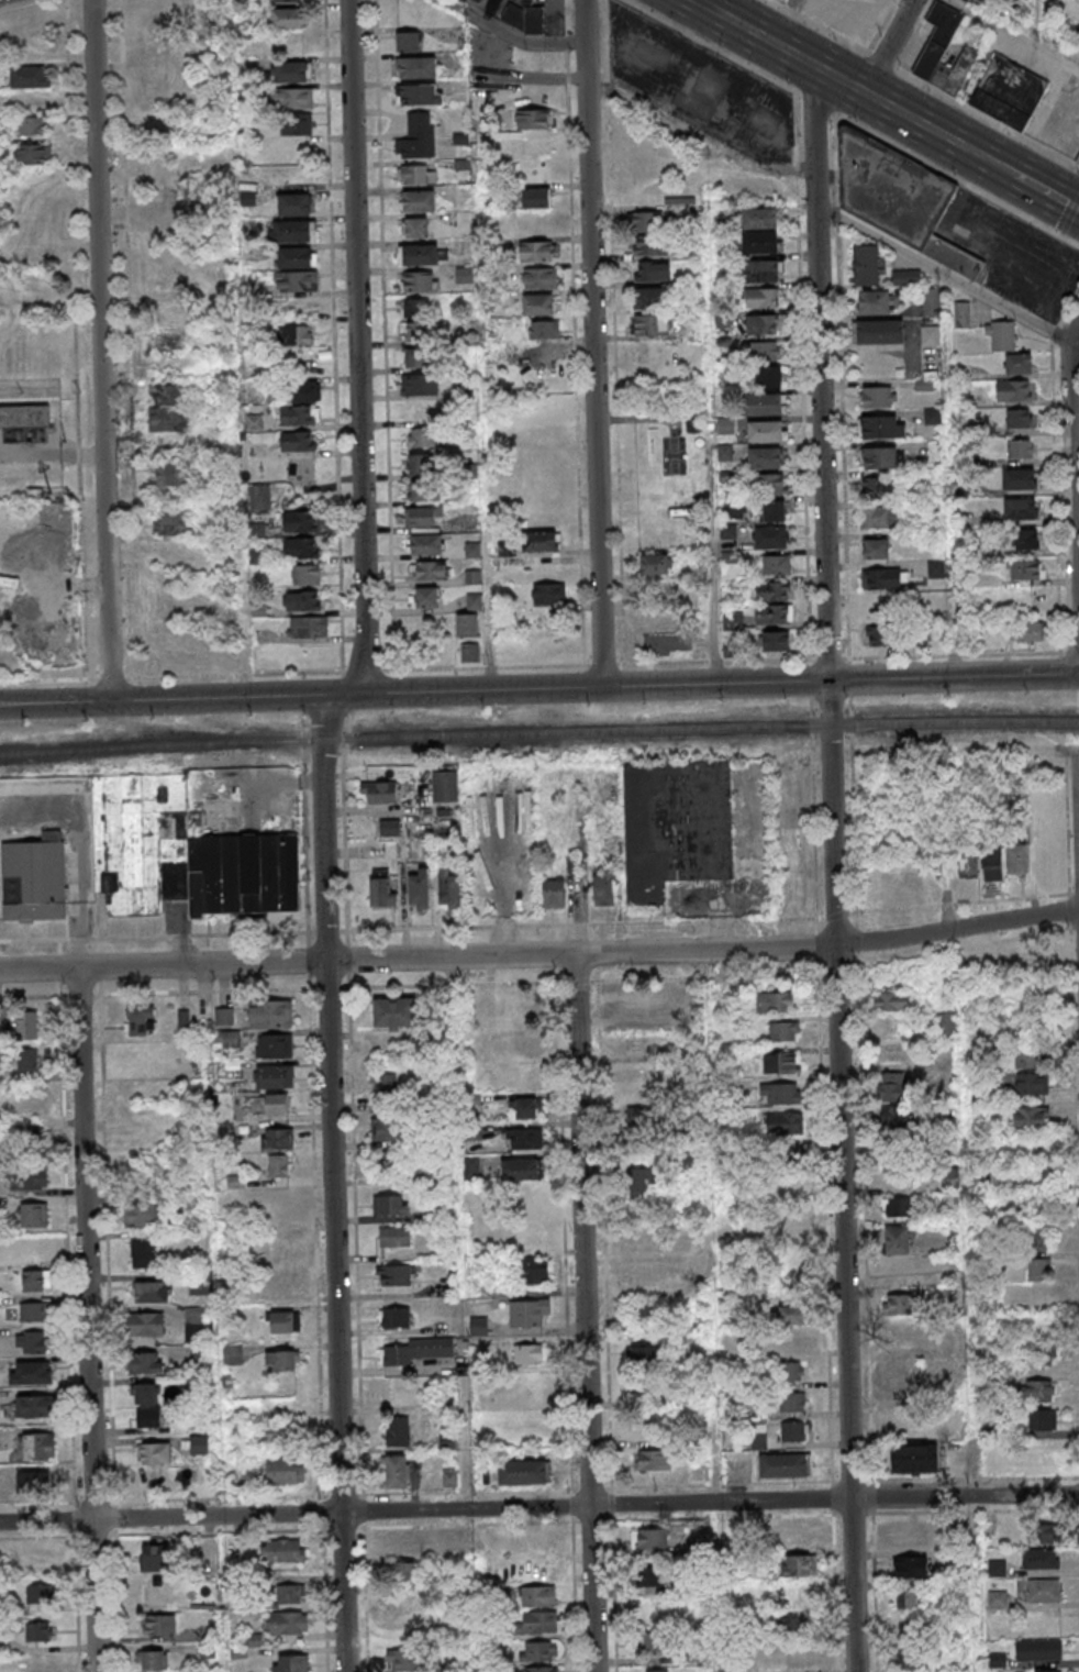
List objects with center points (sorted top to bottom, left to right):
building: (286, 0)
road: (29, 7)
building: (1077, 9)
road: (730, 10)
building: (288, 18)
building: (523, 18)
building: (158, 23)
building: (1077, 34)
road: (1012, 36)
building: (407, 41)
road: (711, 46)
road: (888, 46)
building: (159, 48)
building: (944, 52)
building: (416, 67)
building: (292, 70)
building: (30, 76)
road: (838, 79)
road: (922, 84)
building: (1009, 92)
building: (420, 95)
building: (292, 98)
road: (817, 103)
building: (533, 119)
building: (297, 124)
building: (30, 128)
building: (159, 132)
building: (418, 136)
building: (32, 155)
building: (1078, 162)
road: (998, 167)
building: (416, 174)
road: (957, 181)
road: (1045, 192)
road: (352, 198)
building: (536, 198)
building: (900, 199)
building: (418, 200)
building: (294, 204)
building: (157, 209)
building: (761, 218)
road: (1069, 218)
building: (647, 222)
building: (415, 226)
building: (293, 231)
building: (763, 242)
building: (650, 245)
building: (536, 251)
building: (423, 254)
building: (867, 264)
building: (298, 269)
building: (763, 270)
building: (652, 272)
road: (948, 275)
building: (541, 277)
building: (905, 277)
building: (420, 281)
building: (650, 298)
building: (760, 298)
building: (877, 301)
building: (931, 301)
building: (537, 304)
building: (416, 308)
building: (963, 314)
building: (650, 324)
building: (763, 324)
building: (544, 330)
building: (879, 331)
building: (416, 332)
building: (294, 334)
road: (385, 334)
building: (930, 334)
building: (1001, 335)
building: (165, 342)
road: (593, 343)
building: (764, 348)
road: (101, 350)
building: (418, 358)
building: (1019, 363)
building: (768, 376)
building: (420, 384)
building: (302, 390)
building: (1014, 391)
building: (879, 397)
building: (766, 403)
building: (166, 407)
building: (299, 414)
building: (931, 416)
building: (1019, 418)
building: (25, 419)
building: (254, 422)
building: (880, 427)
building: (767, 431)
building: (421, 438)
building: (296, 441)
building: (1020, 449)
building: (765, 457)
building: (880, 457)
building: (420, 464)
building: (170, 475)
building: (1019, 478)
building: (770, 484)
building: (880, 486)
building: (426, 491)
road: (1074, 498)
building: (1020, 509)
building: (775, 511)
building: (880, 518)
building: (299, 520)
building: (169, 524)
building: (423, 530)
building: (771, 536)
building: (1026, 539)
building: (539, 541)
road: (358, 545)
building: (300, 547)
building: (876, 547)
building: (472, 550)
building: (656, 564)
building: (776, 564)
building: (935, 568)
building: (429, 569)
building: (1027, 569)
building: (305, 574)
building: (472, 577)
building: (885, 578)
building: (772, 590)
building: (548, 594)
building: (426, 596)
building: (301, 599)
building: (475, 601)
building: (880, 608)
building: (774, 613)
building: (733, 621)
building: (467, 624)
building: (308, 627)
building: (1030, 631)
building: (880, 635)
building: (776, 640)
building: (668, 644)
building: (469, 652)
road: (538, 666)
road: (720, 684)
road: (235, 698)
road: (54, 702)
railway: (538, 733)
building: (444, 787)
building: (379, 791)
building: (676, 826)
road: (345, 834)
road: (80, 853)
building: (183, 854)
building: (1016, 860)
building: (992, 863)
building: (968, 865)
road: (834, 868)
building: (34, 879)
building: (603, 888)
building: (381, 889)
building: (448, 889)
building: (419, 890)
building: (554, 894)
road: (539, 924)
road: (541, 954)
road: (542, 982)
building: (726, 989)
building: (775, 1001)
building: (891, 1003)
building: (633, 1006)
building: (269, 1014)
building: (393, 1014)
building: (224, 1017)
building: (138, 1018)
building: (183, 1018)
building: (26, 1026)
building: (783, 1030)
building: (226, 1039)
building: (274, 1045)
building: (521, 1047)
building: (1031, 1059)
building: (782, 1062)
building: (27, 1063)
building: (275, 1076)
building: (1030, 1084)
building: (893, 1087)
building: (386, 1088)
building: (780, 1093)
building: (645, 1097)
building: (274, 1104)
building: (27, 1105)
building: (523, 1107)
building: (1030, 1118)
building: (896, 1119)
building: (783, 1122)
building: (386, 1129)
building: (525, 1138)
building: (275, 1142)
building: (794, 1155)
building: (387, 1162)
building: (279, 1165)
building: (472, 1167)
building: (521, 1170)
building: (26, 1178)
building: (952, 1178)
road: (332, 1184)
building: (642, 1184)
building: (390, 1205)
building: (898, 1206)
building: (34, 1216)
building: (140, 1216)
building: (394, 1237)
building: (898, 1240)
building: (1038, 1240)
building: (143, 1251)
building: (1038, 1271)
building: (533, 1272)
building: (398, 1274)
building: (647, 1274)
building: (35, 1281)
building: (283, 1283)
building: (151, 1291)
road: (566, 1298)
building: (898, 1305)
building: (644, 1310)
building: (33, 1311)
building: (527, 1311)
road: (585, 1313)
building: (791, 1315)
building: (394, 1317)
road: (88, 1319)
building: (281, 1321)
building: (146, 1324)
building: (479, 1326)
building: (197, 1332)
building: (31, 1342)
building: (793, 1342)
building: (416, 1351)
building: (530, 1353)
building: (1041, 1354)
building: (233, 1355)
building: (643, 1355)
building: (280, 1360)
building: (144, 1363)
building: (792, 1371)
building: (32, 1373)
building: (197, 1382)
building: (1039, 1391)
building: (146, 1394)
building: (793, 1402)
building: (34, 1408)
building: (148, 1418)
building: (1041, 1420)
building: (906, 1429)
building: (398, 1431)
building: (794, 1431)
building: (279, 1432)
building: (199, 1446)
building: (40, 1447)
building: (155, 1453)
building: (912, 1459)
building: (654, 1460)
building: (785, 1464)
building: (396, 1471)
building: (283, 1472)
building: (522, 1472)
building: (450, 1477)
building: (35, 1481)
building: (153, 1481)
road: (538, 1506)
building: (911, 1532)
building: (796, 1535)
building: (649, 1539)
building: (404, 1543)
building: (282, 1550)
building: (152, 1557)
building: (1039, 1558)
building: (798, 1565)
building: (910, 1566)
building: (995, 1568)
building: (404, 1572)
building: (656, 1579)
building: (1042, 1591)
building: (155, 1592)
building: (40, 1593)
building: (290, 1593)
building: (538, 1596)
building: (905, 1598)
building: (997, 1598)
building: (399, 1602)
building: (287, 1623)
building: (538, 1624)
building: (158, 1625)
building: (796, 1627)
building: (40, 1631)
building: (653, 1641)
building: (1038, 1650)
building: (541, 1651)
building: (799, 1657)
building: (909, 1658)
building: (152, 1660)
building: (403, 1660)
building: (997, 1660)
building: (290, 1663)
building: (542, 1669)
building: (654, 1670)
building: (1049, 1671)

